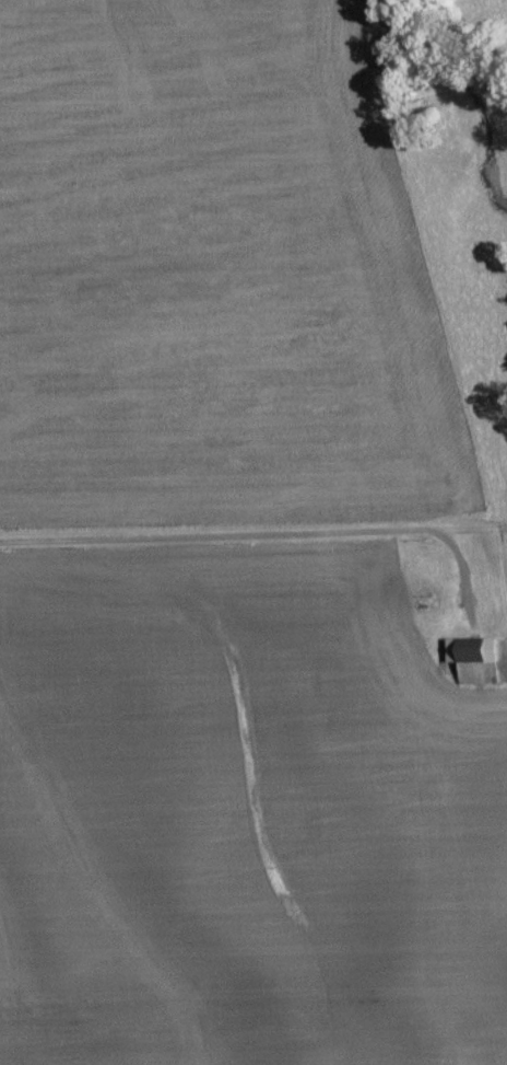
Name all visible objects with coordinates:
road: (234, 524)
building: (475, 660)

